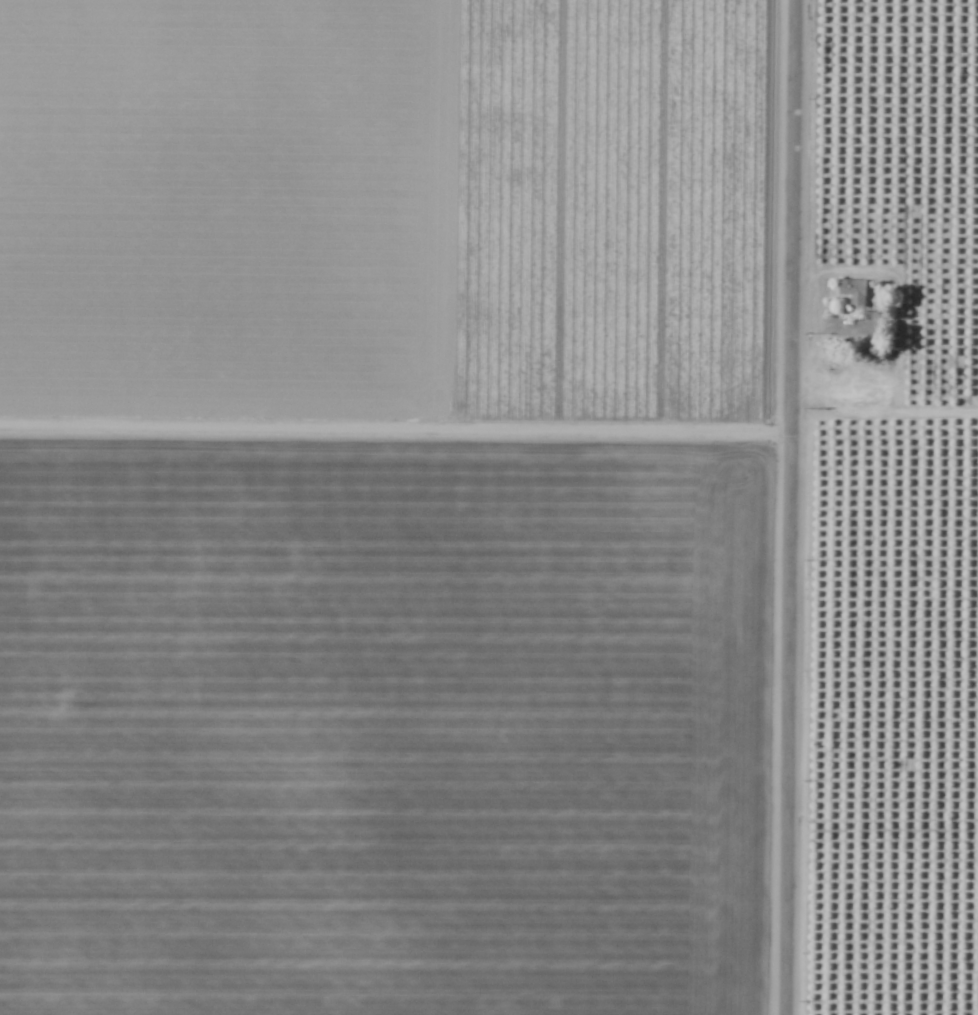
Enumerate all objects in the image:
building: (852, 292)
crop: (489, 507)
road: (791, 507)

